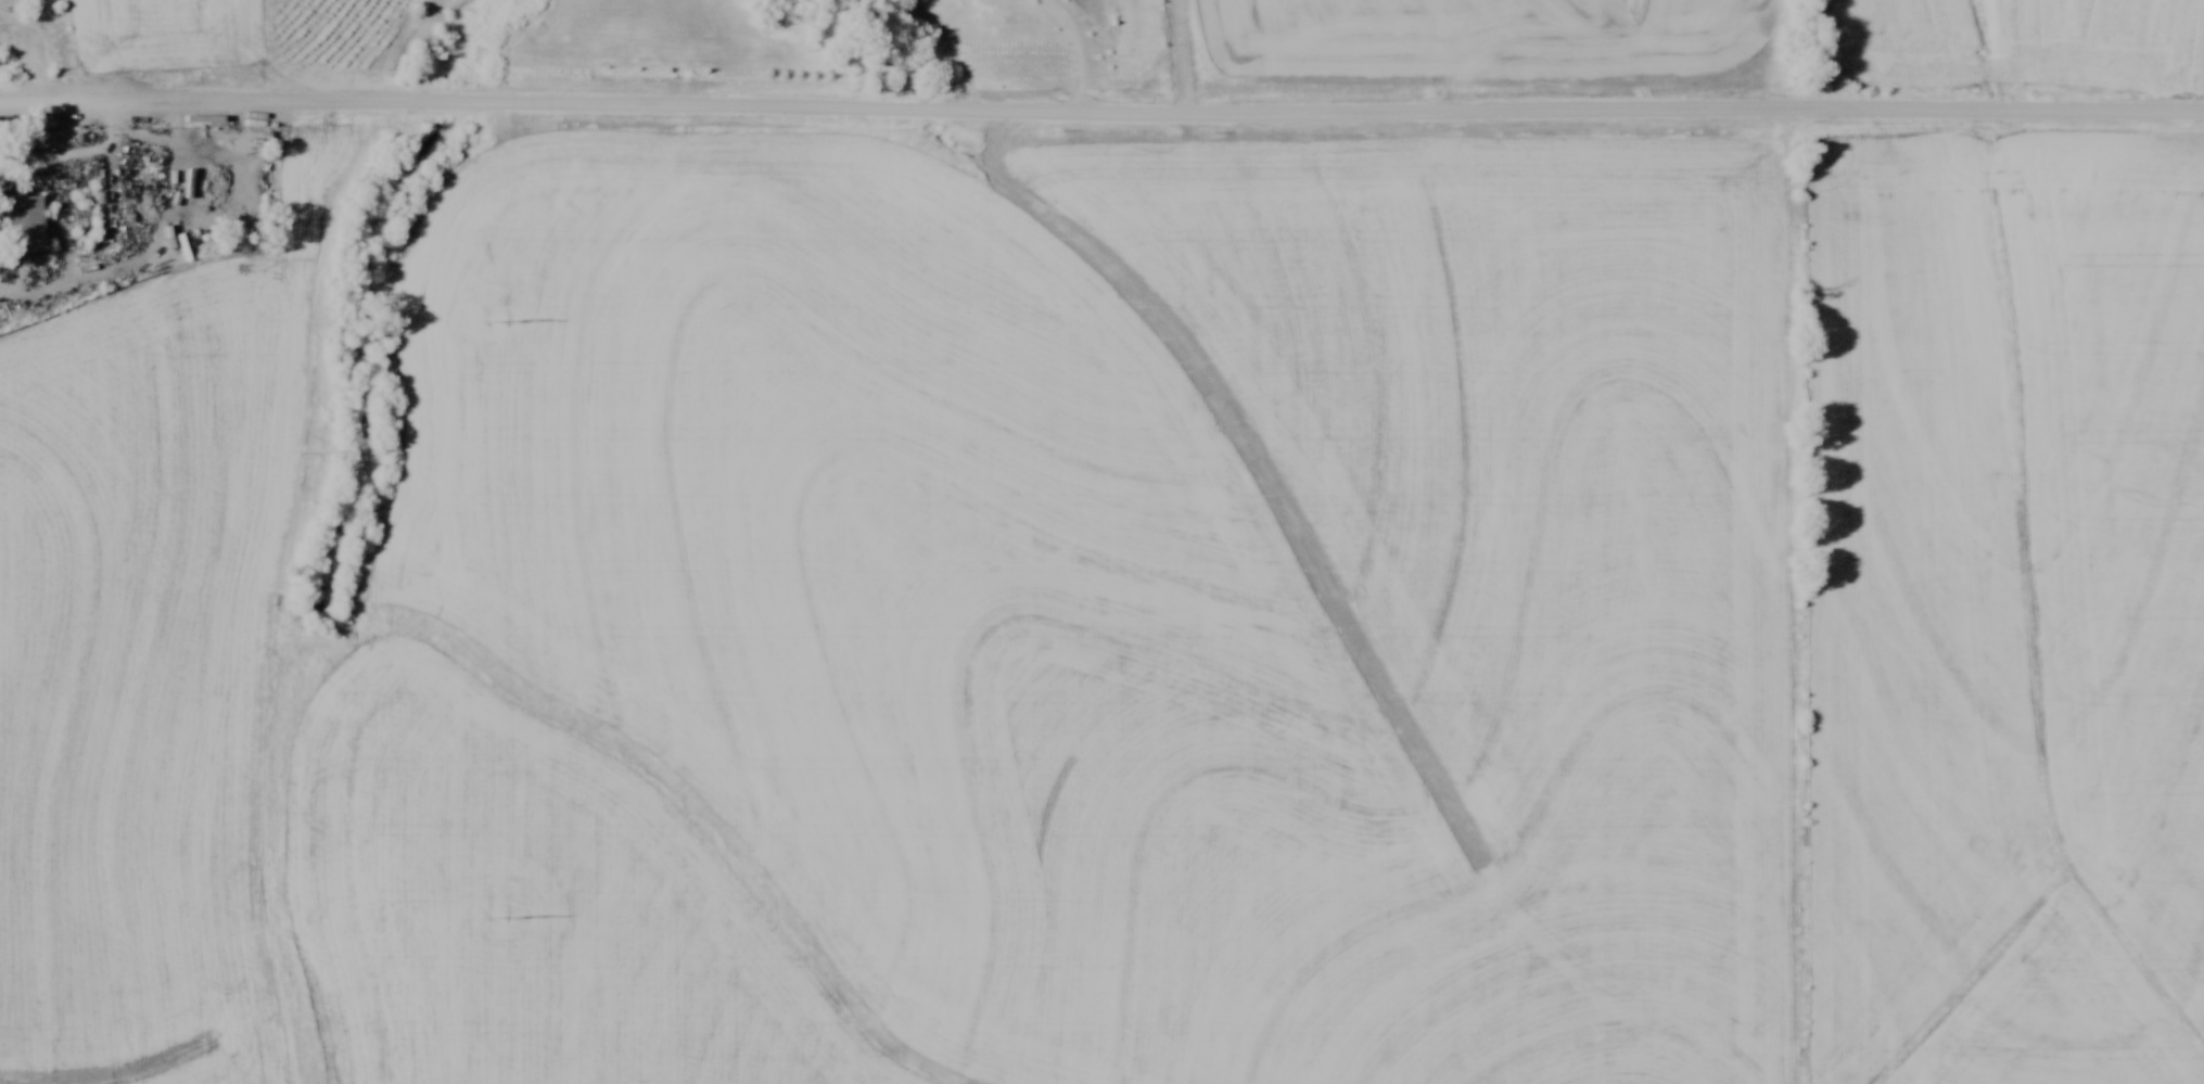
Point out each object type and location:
road: (1076, 54)
road: (1183, 58)
road: (29, 67)
road: (1101, 117)
road: (75, 158)
building: (25, 226)
power tower: (497, 320)
power tower: (502, 917)

